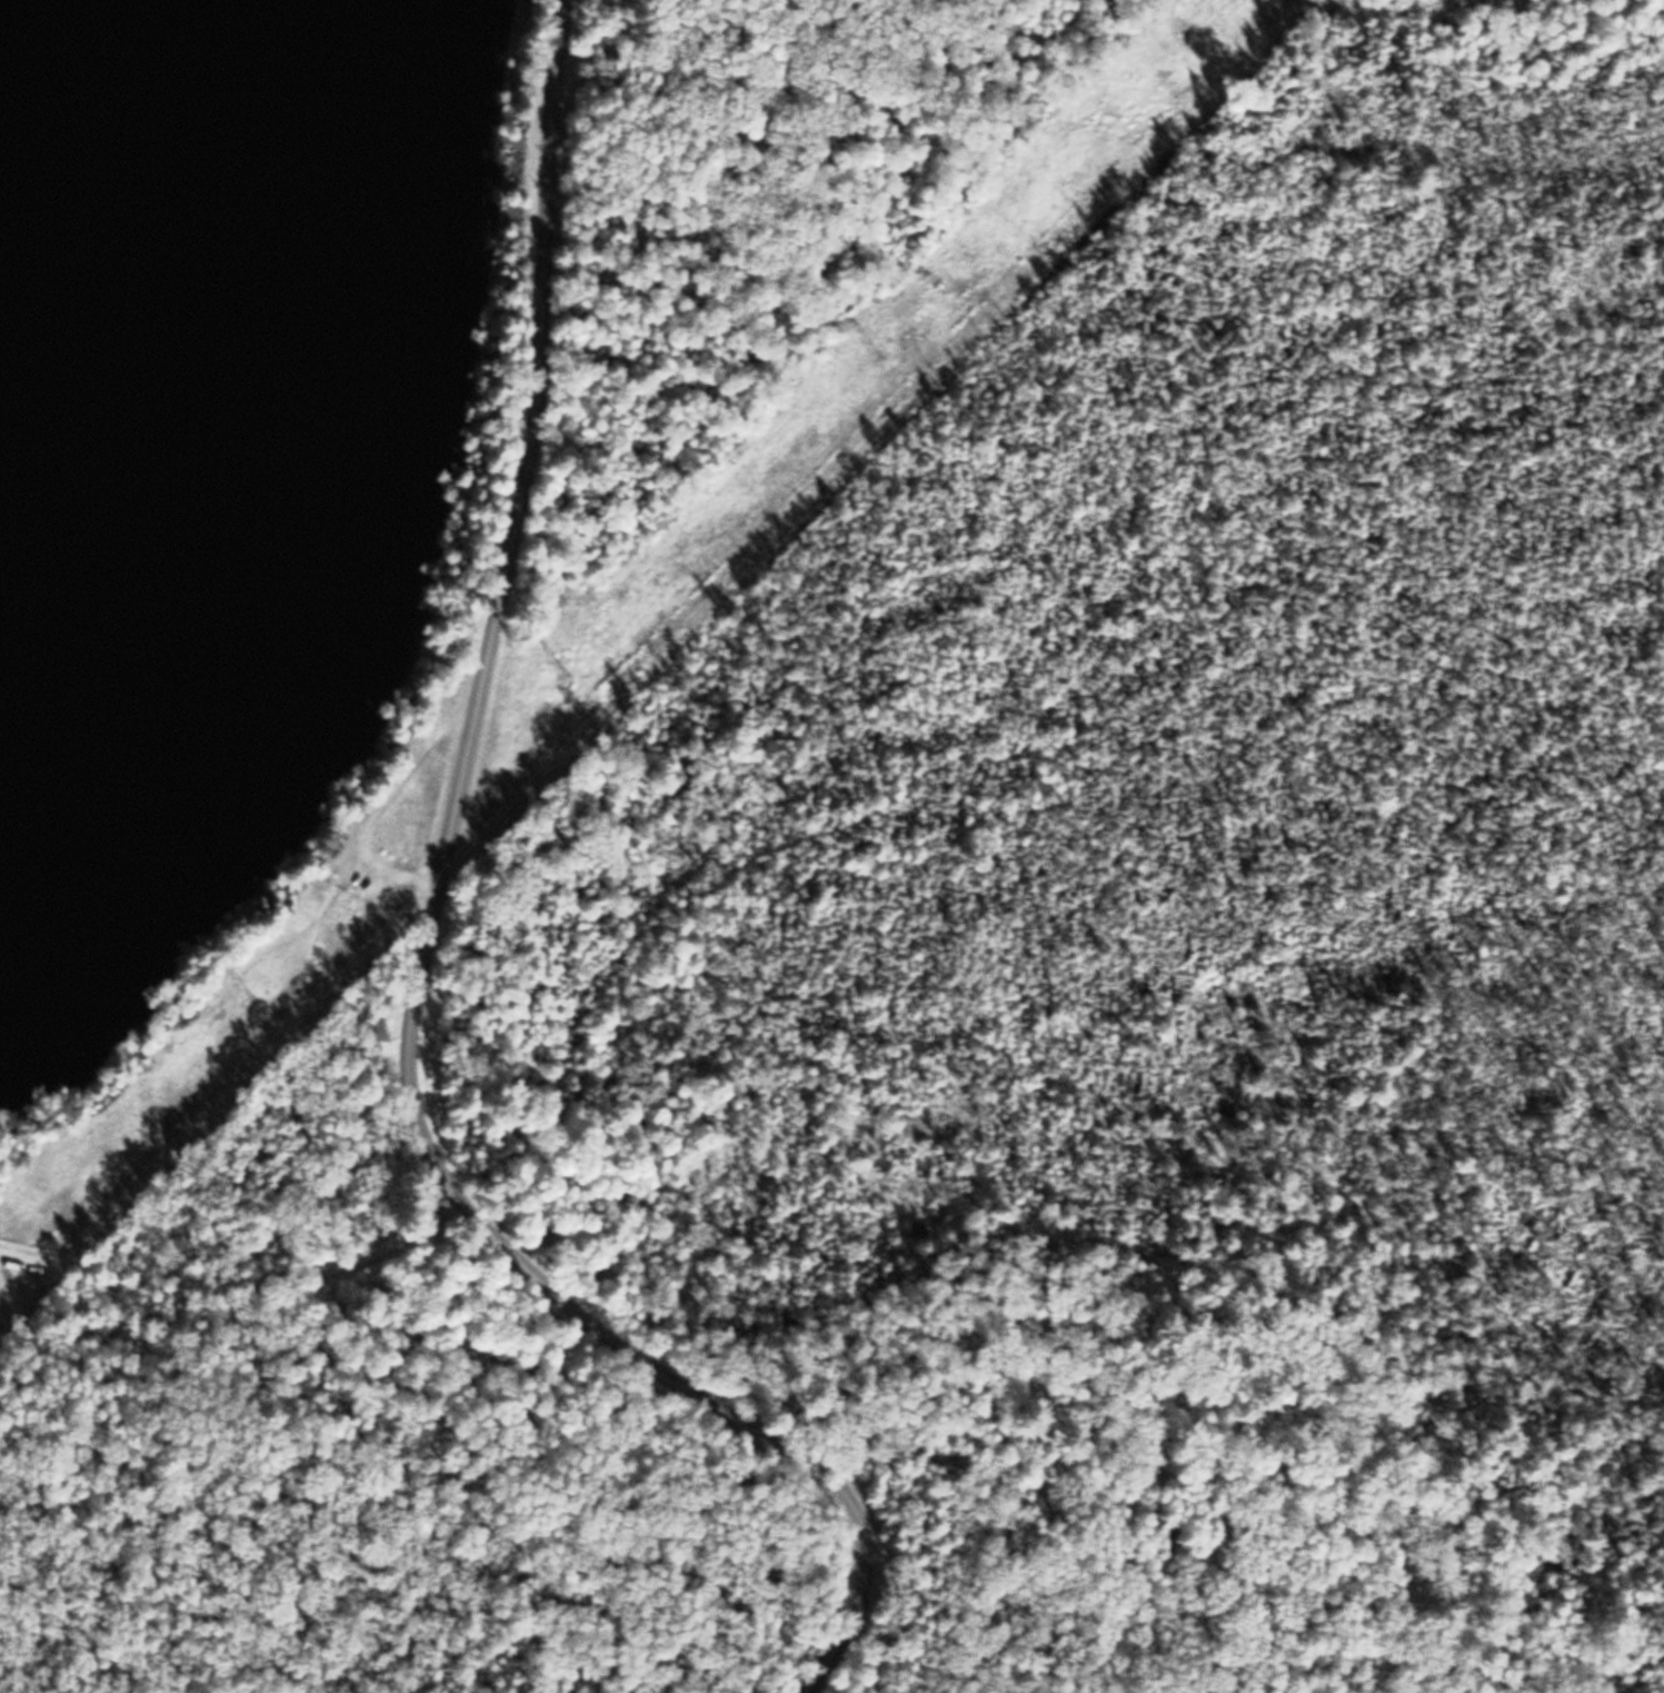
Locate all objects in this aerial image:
river: (3, 4)
power tower: (1170, 34)
power tower: (869, 351)
power tower: (552, 671)
road: (1068, 701)
road: (1434, 844)
road: (424, 955)
power tower: (233, 989)
road: (1010, 1105)
road: (290, 1217)
road: (238, 1276)
road: (1198, 1561)

